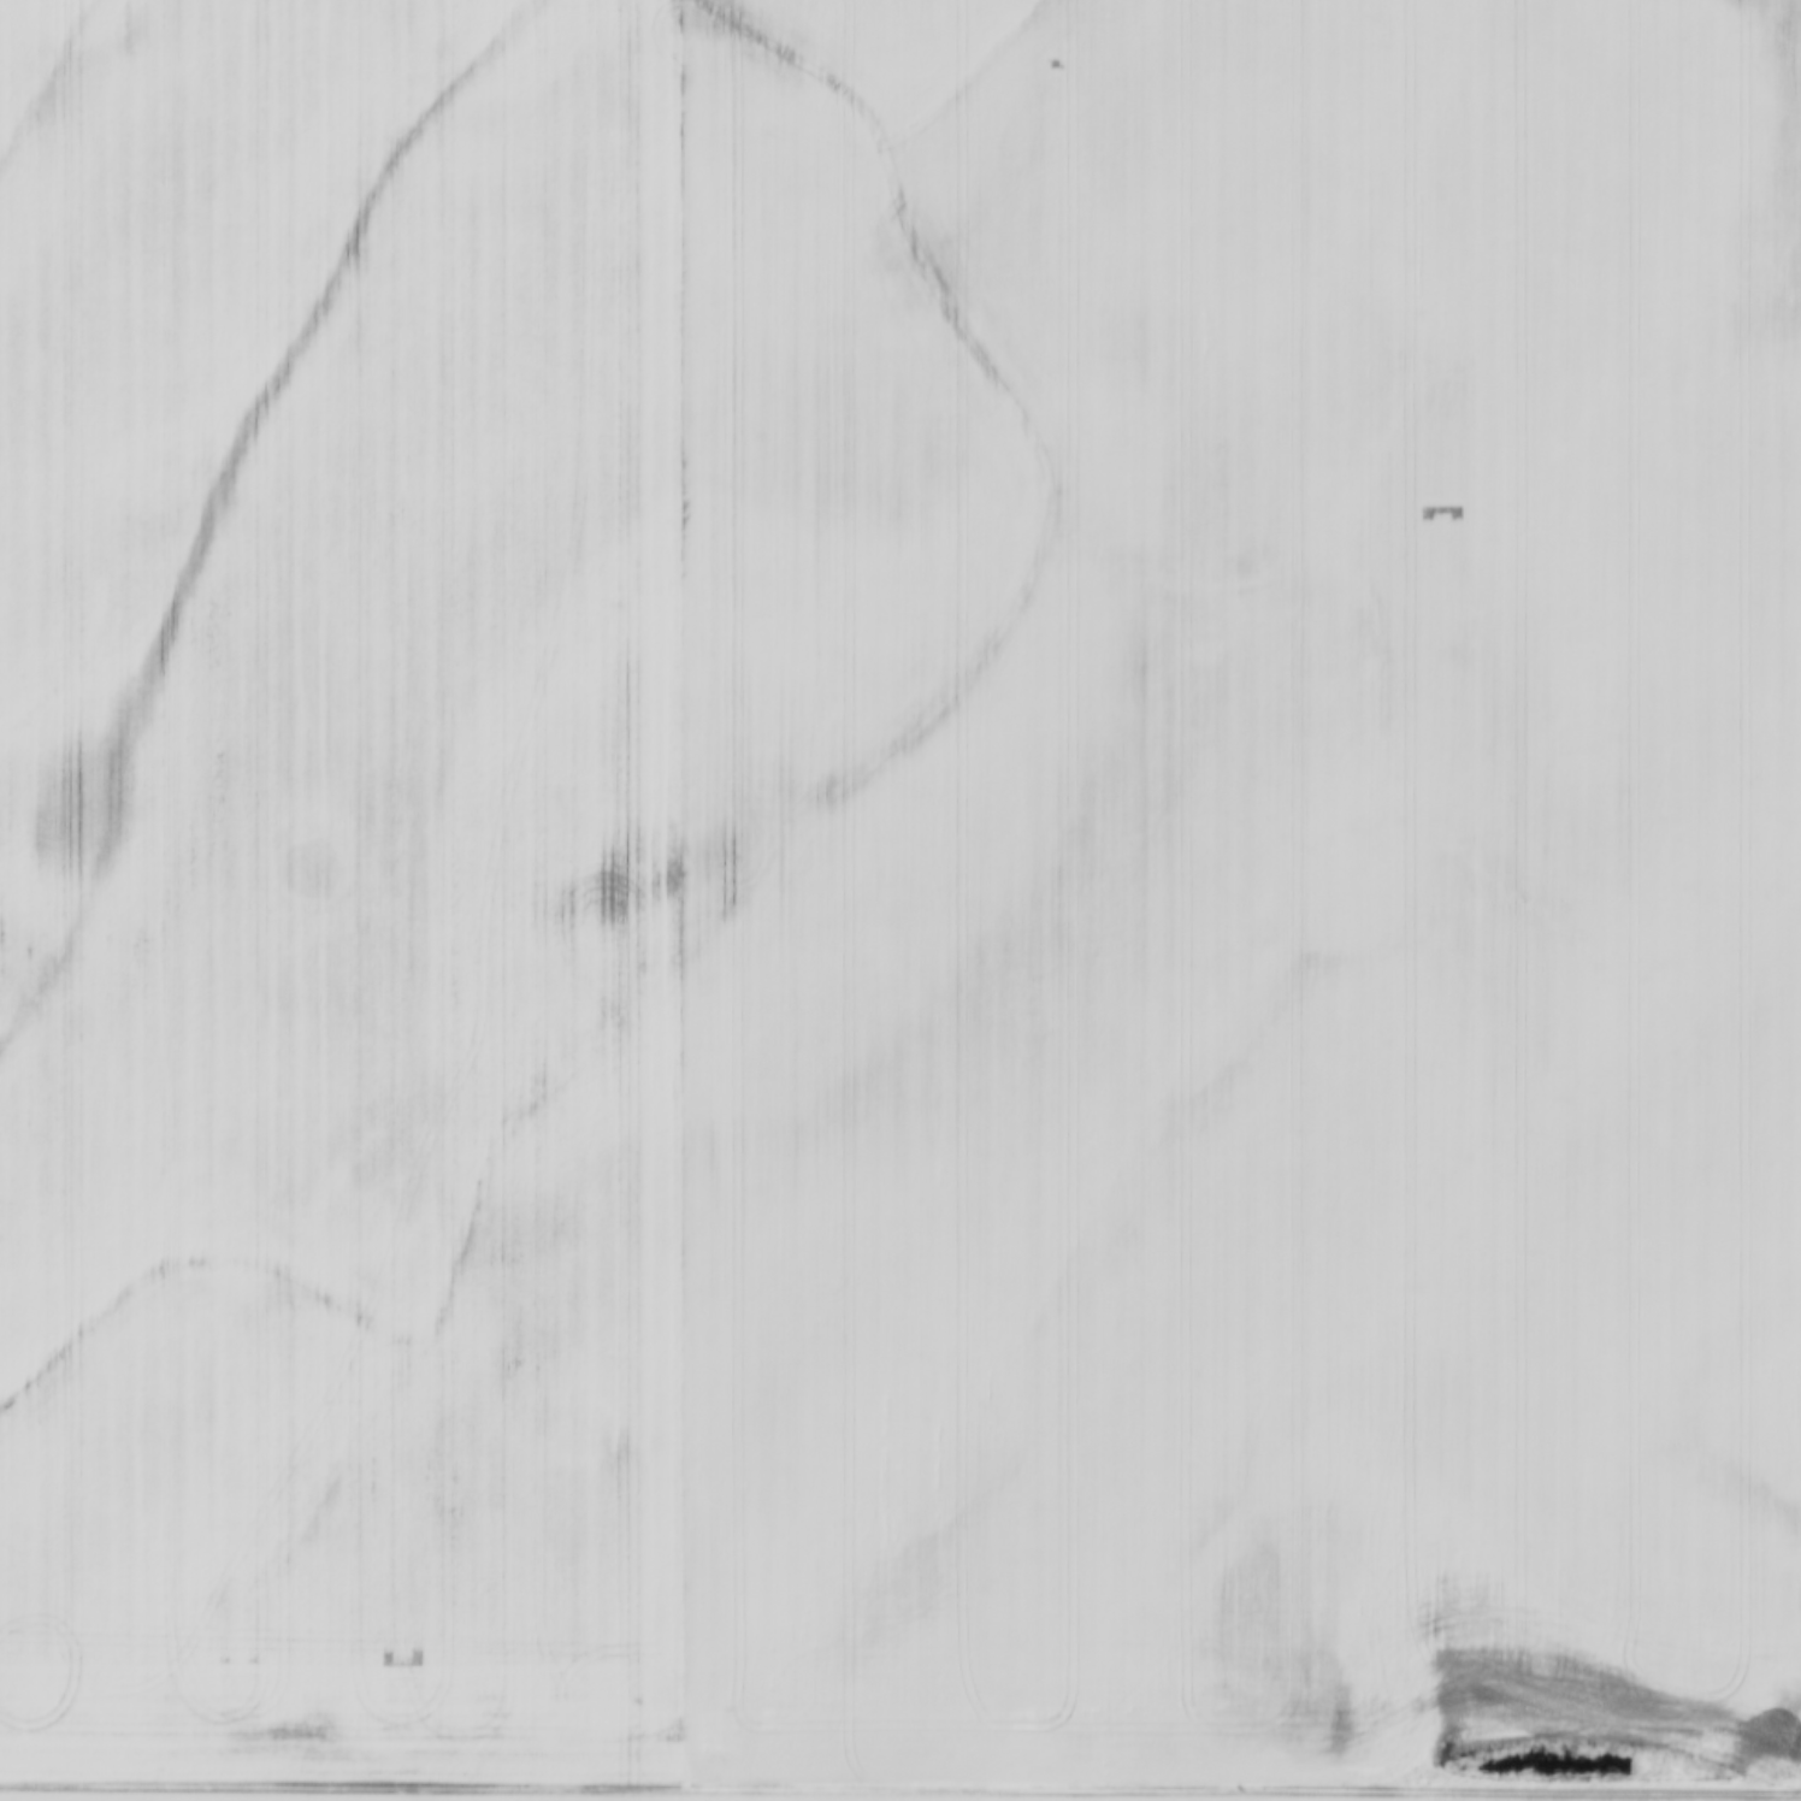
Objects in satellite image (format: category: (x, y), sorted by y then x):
road: (899, 1783)

